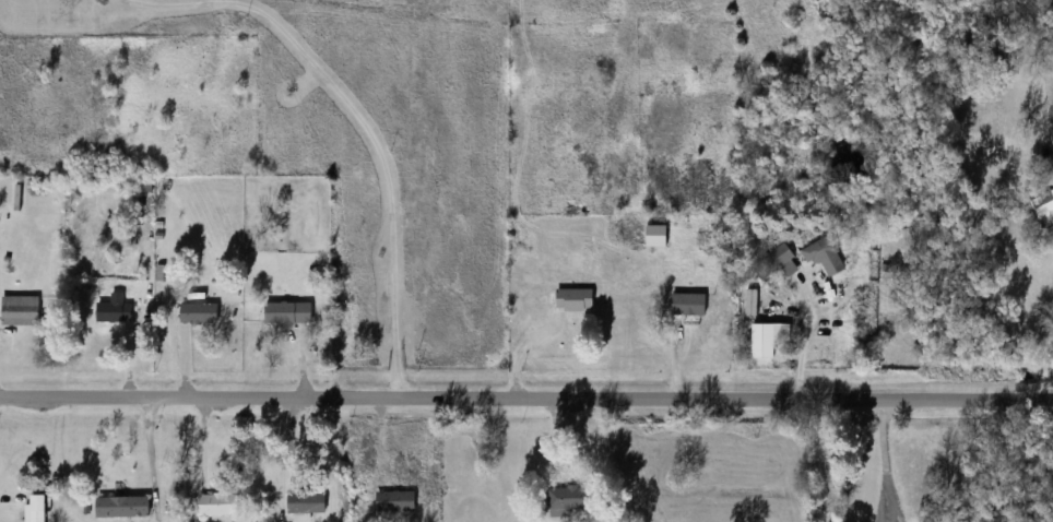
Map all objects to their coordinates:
building: (1044, 206)
building: (825, 257)
building: (781, 261)
building: (573, 300)
building: (688, 305)
building: (20, 310)
building: (114, 310)
building: (198, 313)
building: (287, 313)
road: (808, 339)
road: (526, 401)
building: (566, 498)
building: (395, 501)
building: (305, 503)
building: (214, 505)
building: (121, 507)
building: (35, 508)

